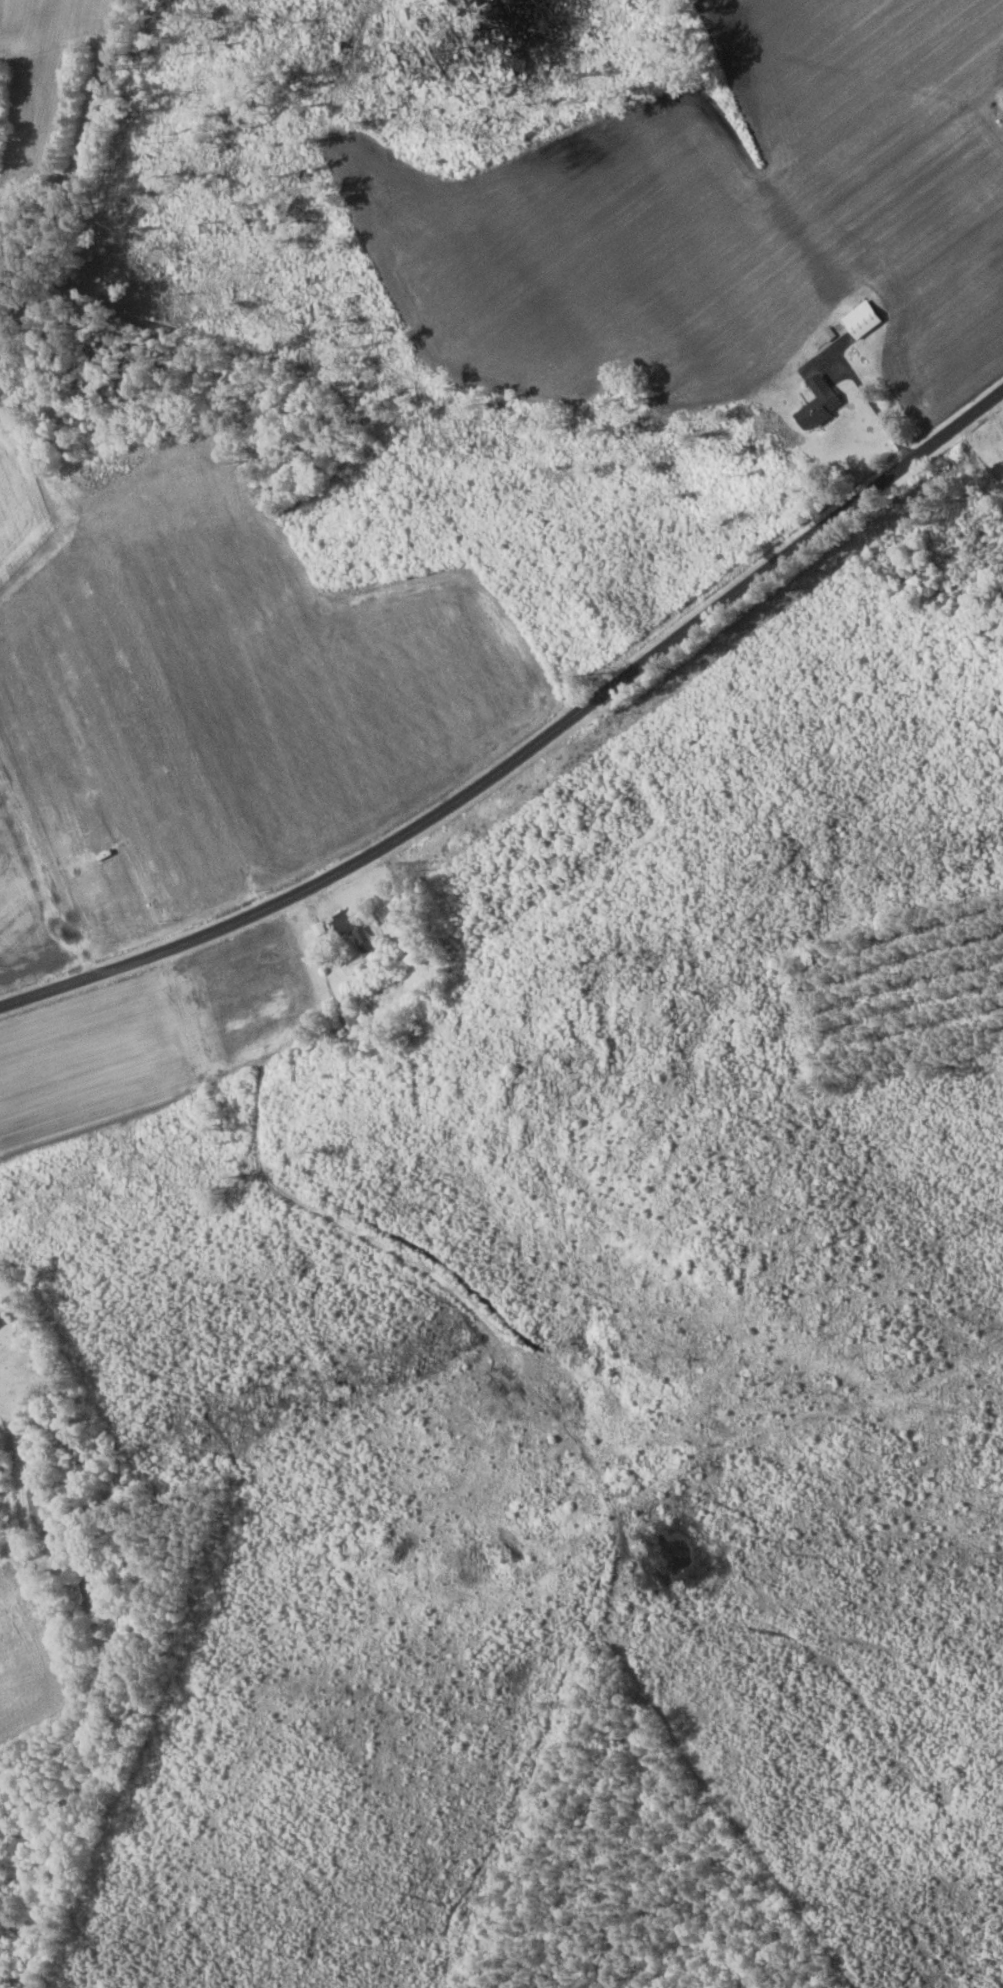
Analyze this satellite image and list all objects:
building: (859, 319)
building: (815, 403)
road: (529, 748)
road: (37, 883)
building: (349, 927)
building: (345, 1013)

